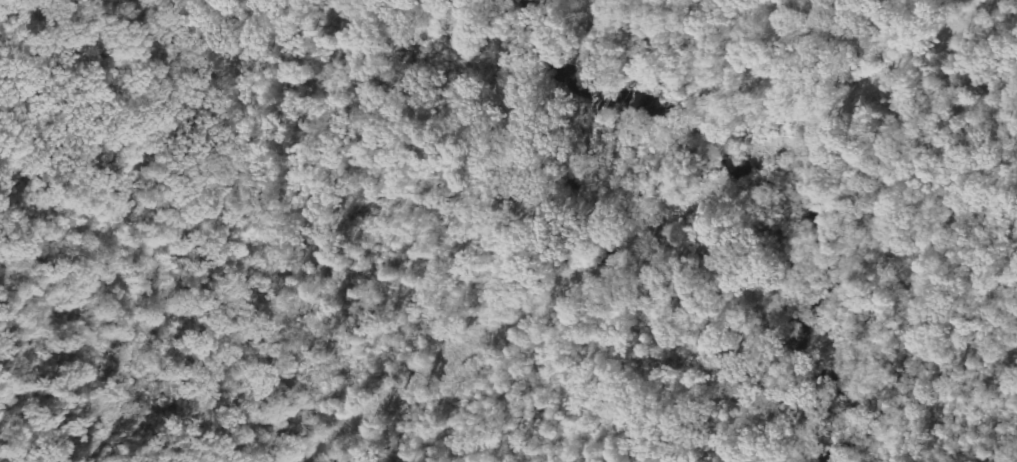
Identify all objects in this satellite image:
river: (774, 187)

